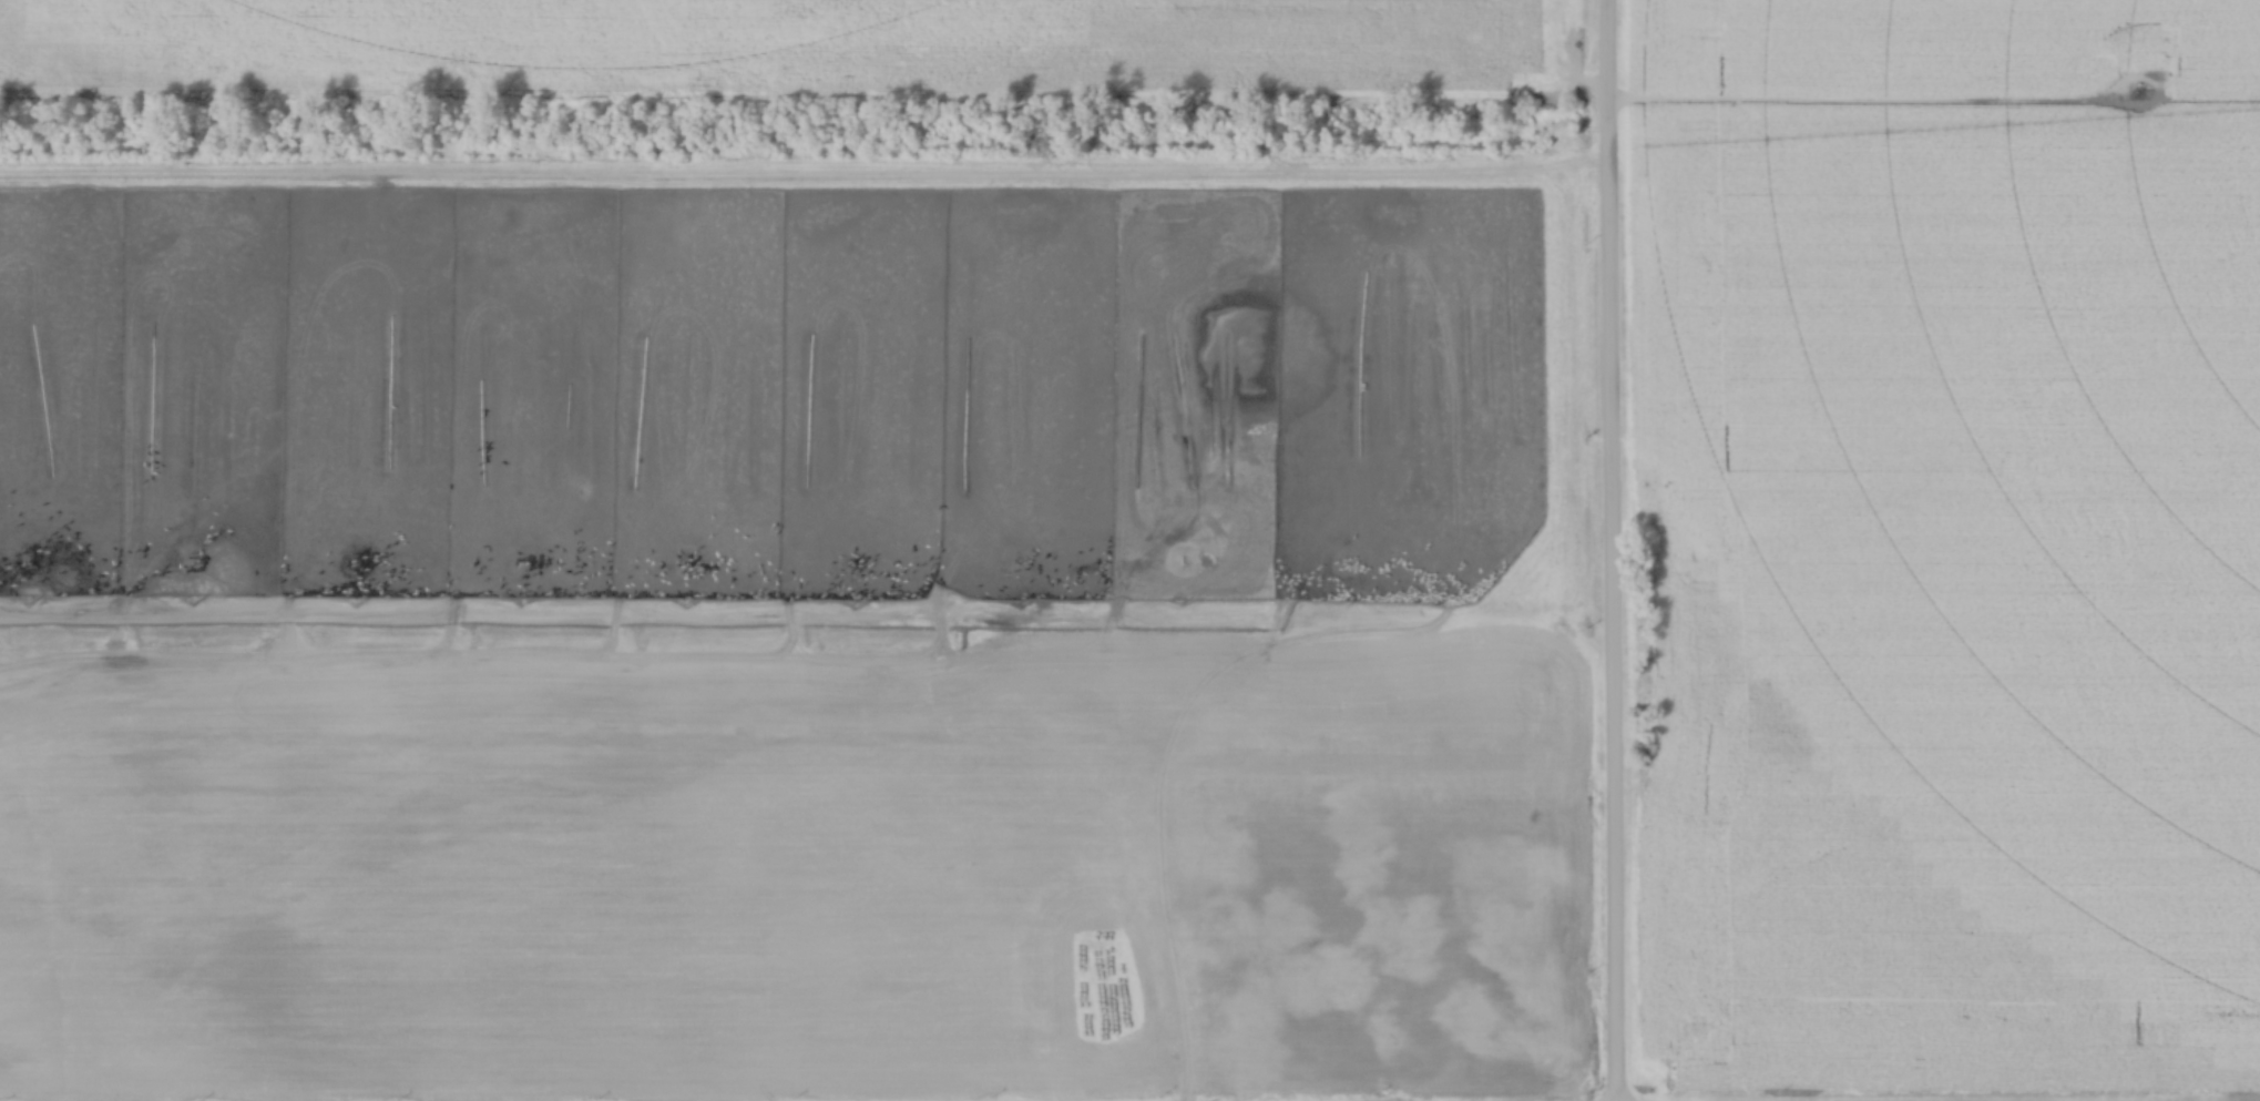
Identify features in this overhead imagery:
road: (1615, 550)

